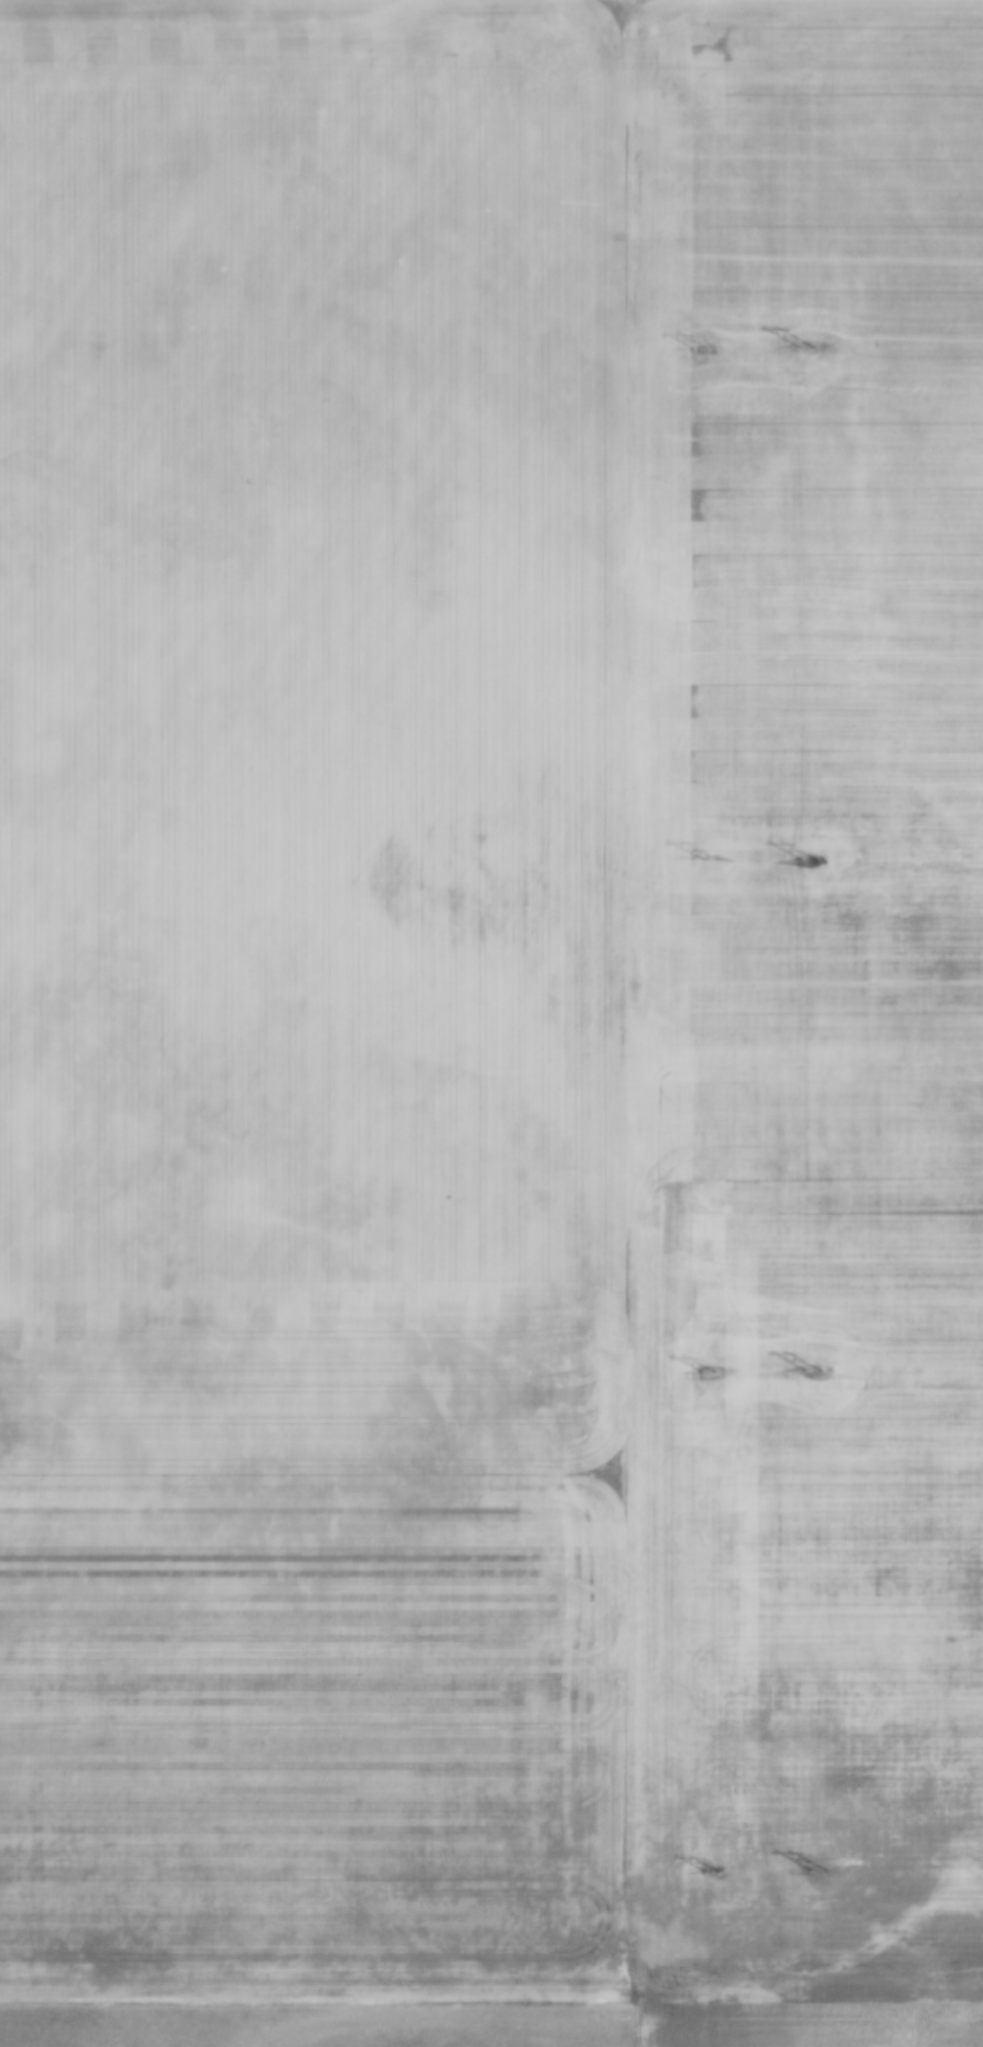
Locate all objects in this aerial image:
power tower: (804, 347)
power tower: (697, 348)
power tower: (701, 857)
power tower: (807, 861)
power tower: (812, 1373)
power tower: (706, 1374)
power tower: (814, 1870)
power tower: (709, 1871)

